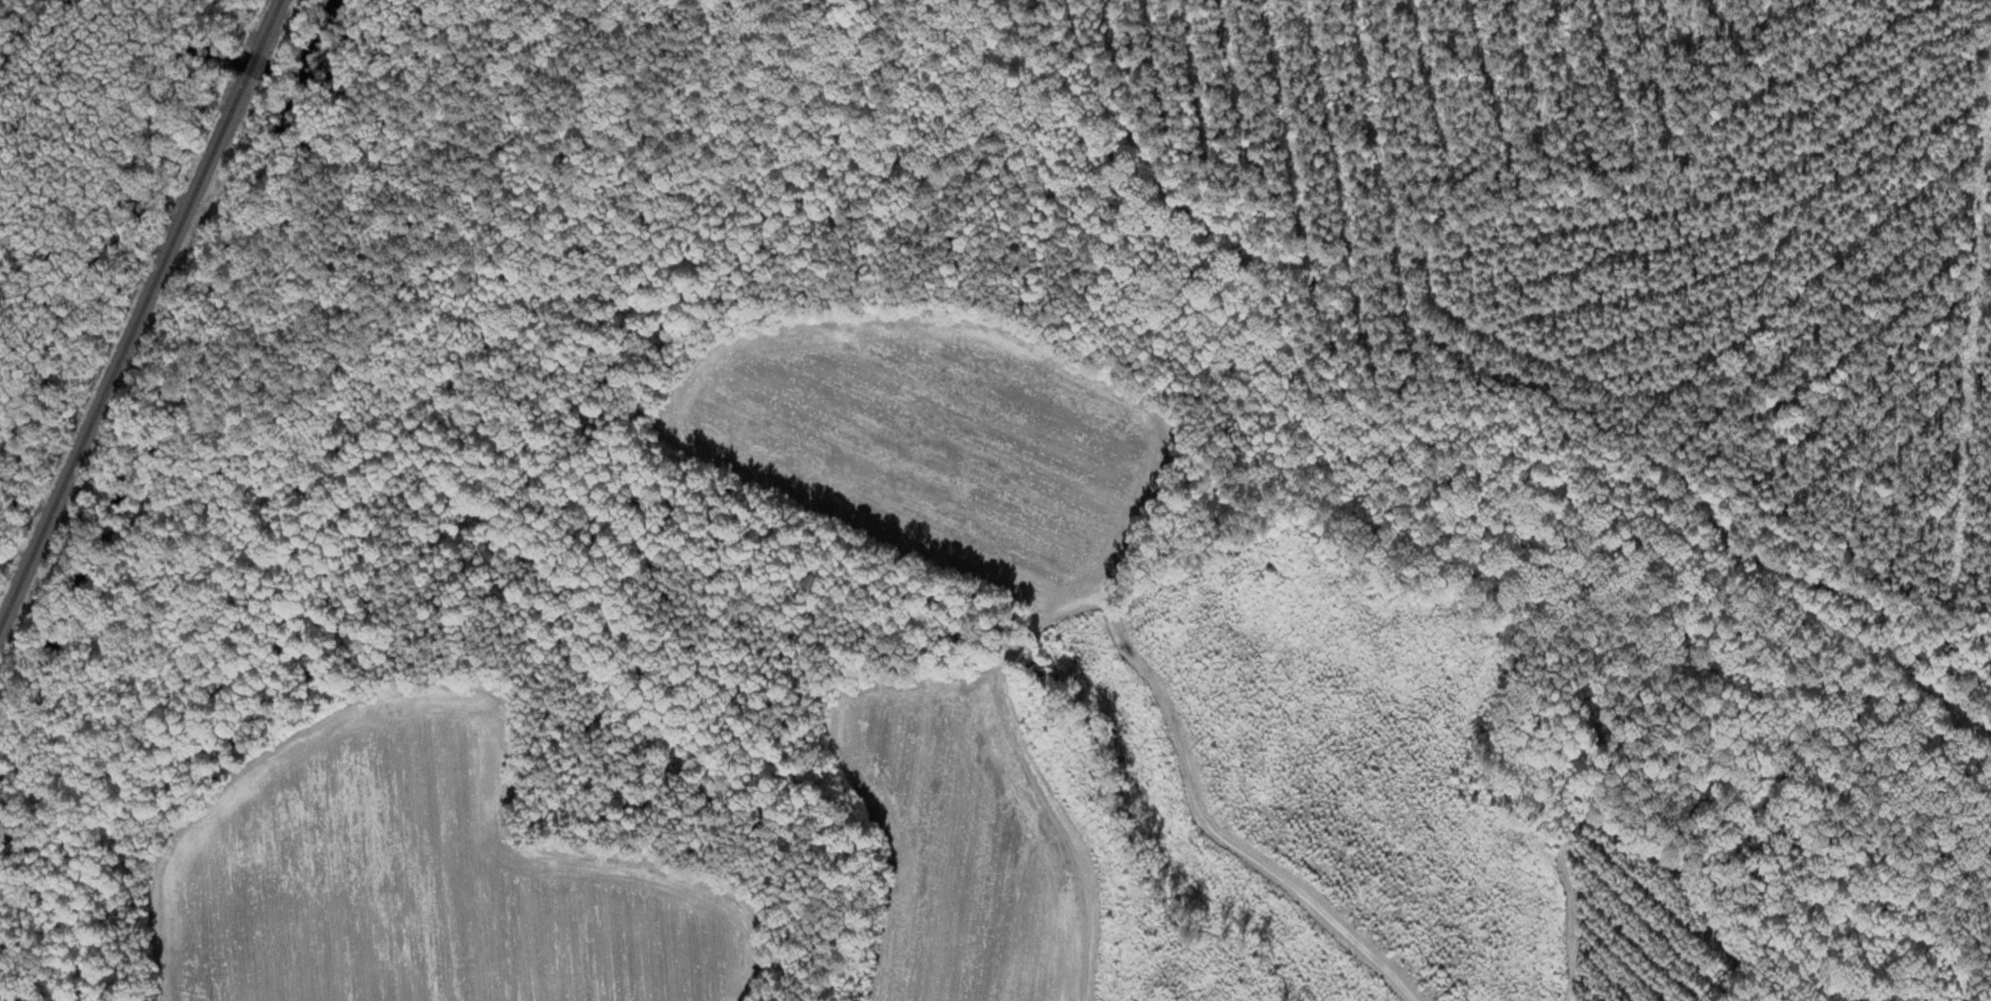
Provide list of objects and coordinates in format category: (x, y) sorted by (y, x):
railway: (269, 26)
railway: (253, 63)
railway: (124, 350)

